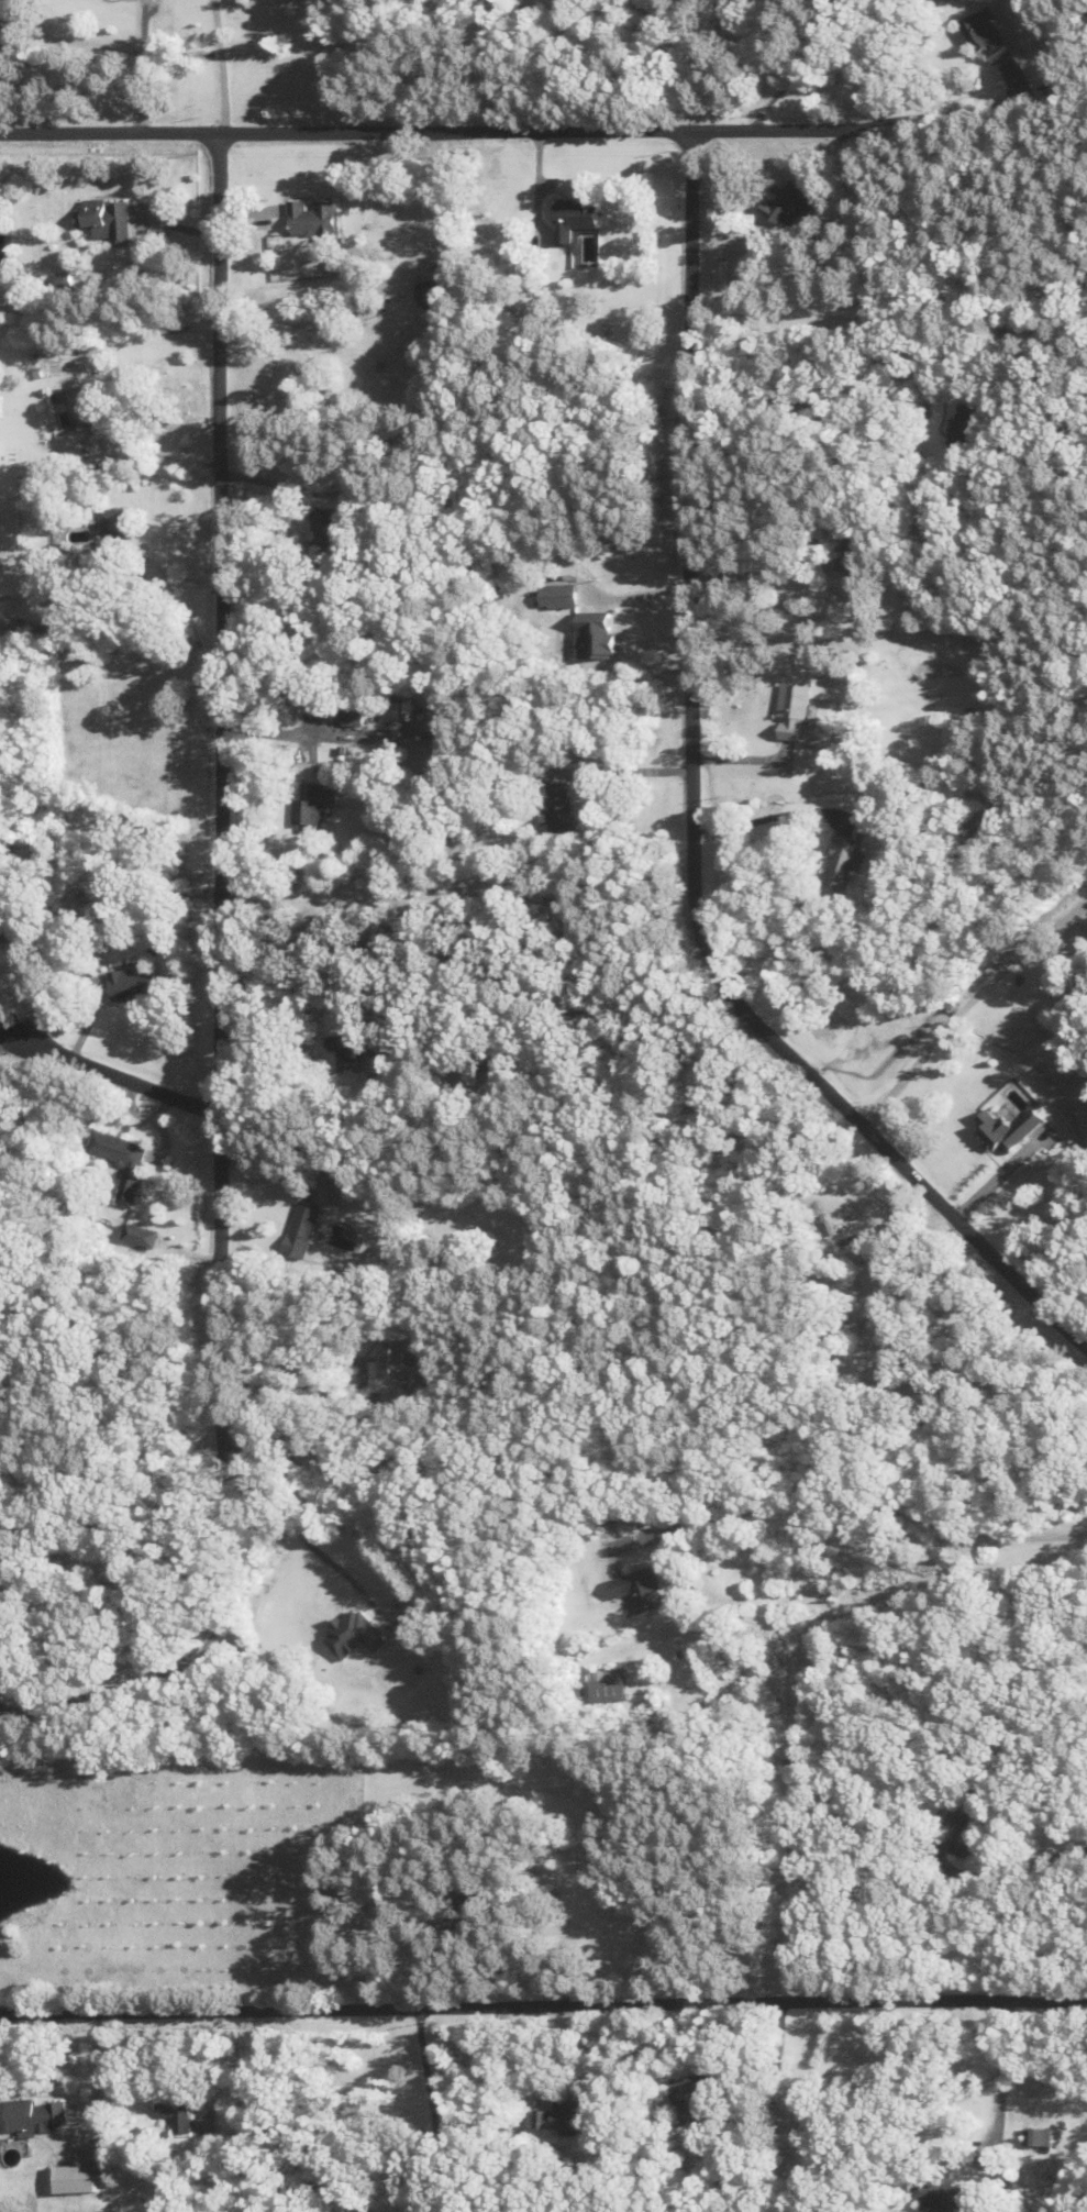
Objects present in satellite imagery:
building: (984, 34)
road: (343, 131)
building: (794, 202)
building: (109, 218)
building: (577, 218)
building: (314, 219)
building: (432, 291)
building: (87, 402)
building: (969, 428)
building: (333, 526)
building: (113, 534)
building: (857, 554)
building: (565, 595)
building: (8, 626)
road: (221, 704)
building: (798, 709)
building: (558, 804)
building: (314, 805)
road: (696, 816)
building: (845, 862)
building: (18, 922)
building: (135, 983)
building: (373, 1039)
building: (348, 1043)
road: (109, 1070)
building: (1012, 1130)
building: (123, 1160)
building: (306, 1229)
building: (143, 1236)
building: (881, 1290)
building: (403, 1369)
building: (895, 1369)
road: (866, 1507)
road: (225, 1557)
building: (642, 1590)
building: (999, 1640)
building: (608, 1684)
building: (497, 1903)
road: (543, 2004)
building: (699, 2095)
building: (177, 2109)
building: (573, 2113)
building: (37, 2114)
building: (1040, 2135)
building: (943, 2193)
building: (365, 2211)

